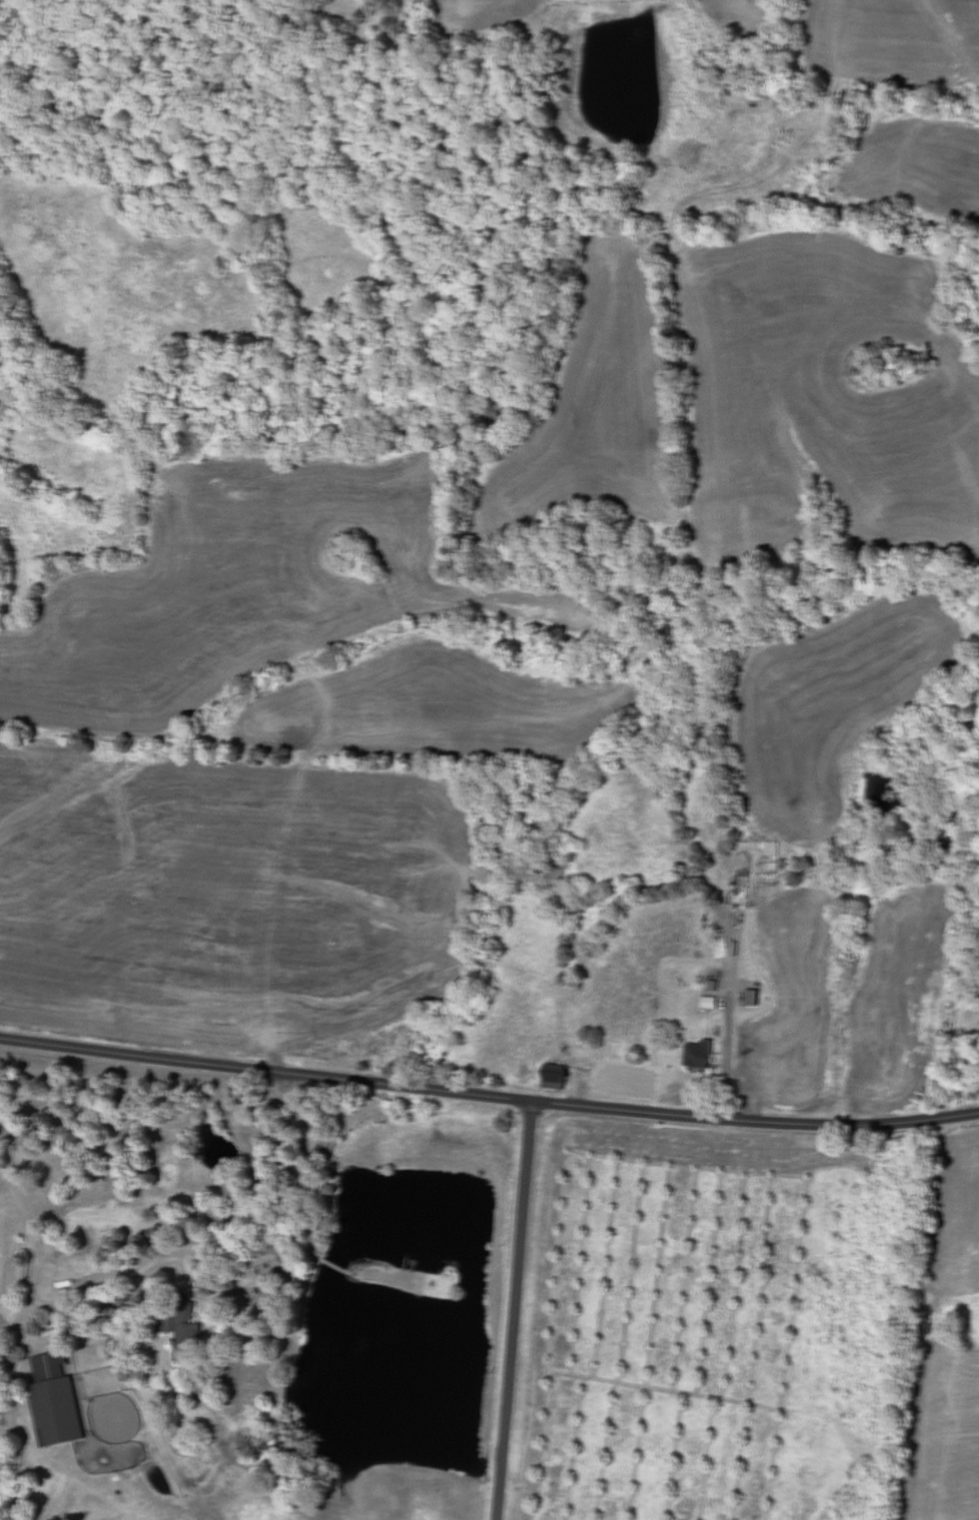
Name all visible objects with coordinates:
building: (755, 998)
building: (712, 1003)
building: (701, 1055)
building: (557, 1077)
road: (488, 1096)
road: (517, 1311)
building: (178, 1318)
building: (57, 1403)

